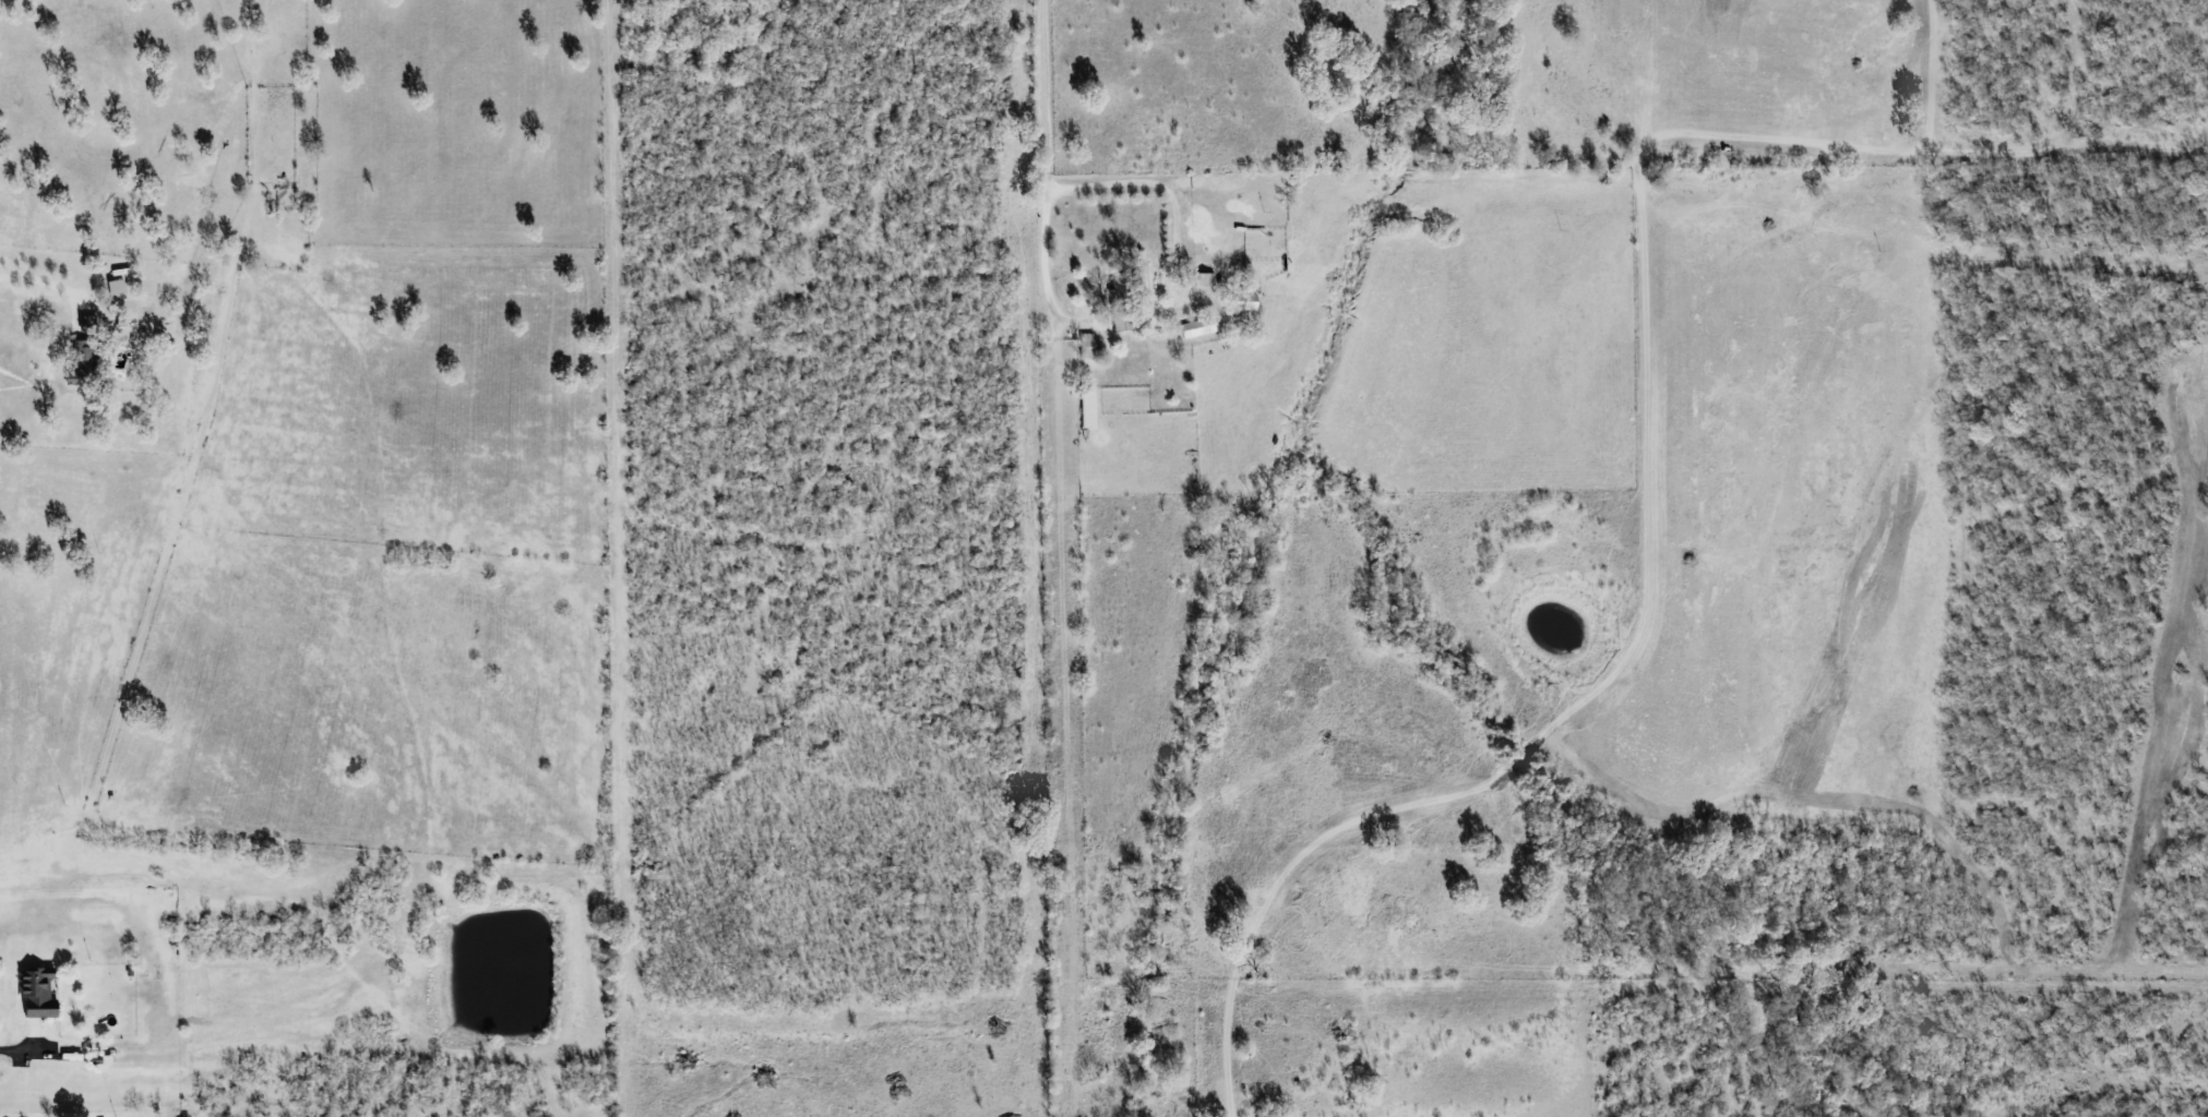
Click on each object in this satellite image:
road: (1045, 93)
road: (1142, 191)
road: (1047, 263)
building: (1203, 279)
road: (38, 280)
building: (117, 289)
building: (1240, 302)
building: (87, 324)
building: (1196, 327)
building: (1088, 346)
building: (82, 363)
building: (37, 993)
road: (13, 1048)

